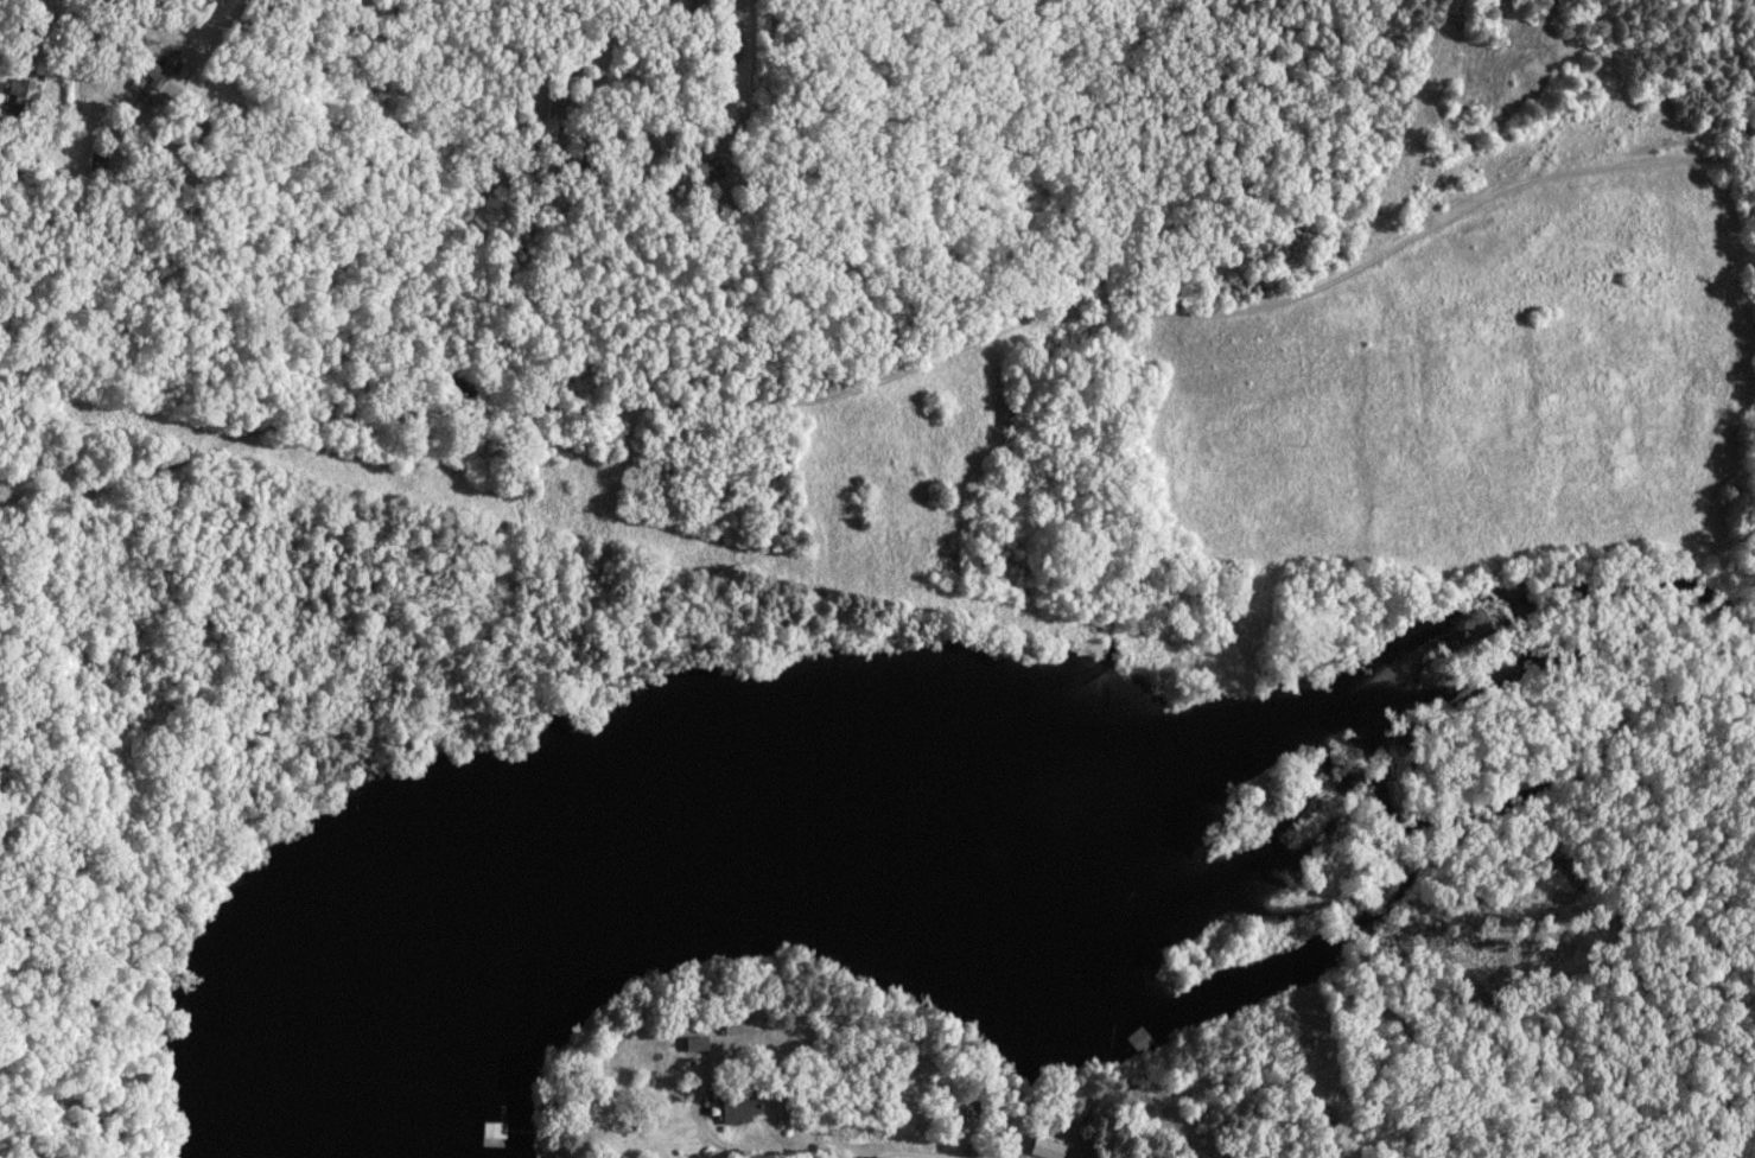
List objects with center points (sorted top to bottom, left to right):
building: (657, 9)
building: (706, 12)
road: (109, 23)
building: (56, 45)
building: (168, 70)
road: (148, 119)
road: (651, 119)
building: (27, 161)
building: (100, 163)
building: (712, 170)
road: (1045, 319)
building: (736, 1025)
building: (698, 1045)
building: (740, 1108)
building: (496, 1135)
building: (1048, 1149)
road: (803, 1150)

